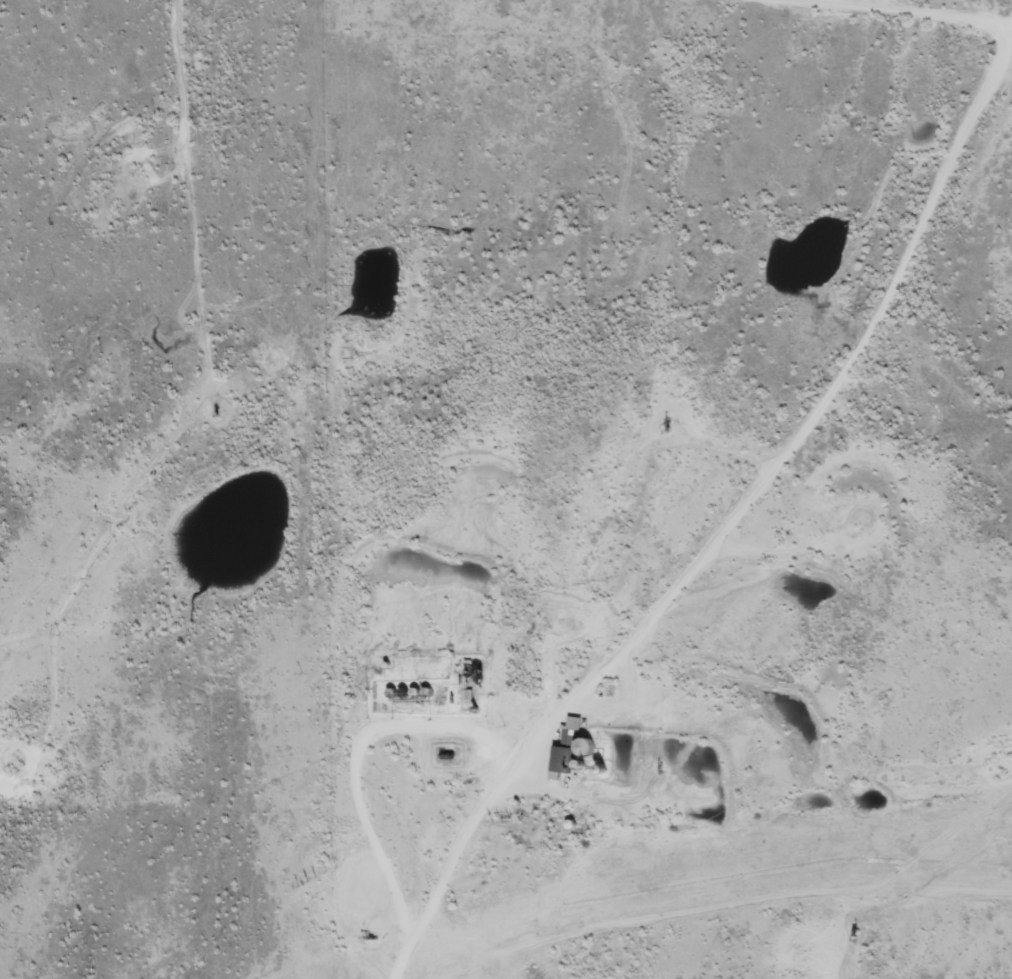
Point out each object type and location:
road: (752, 34)
road: (916, 263)
road: (105, 508)
road: (906, 566)
road: (561, 630)
road: (203, 727)
building: (564, 755)
road: (684, 849)
building: (544, 970)

